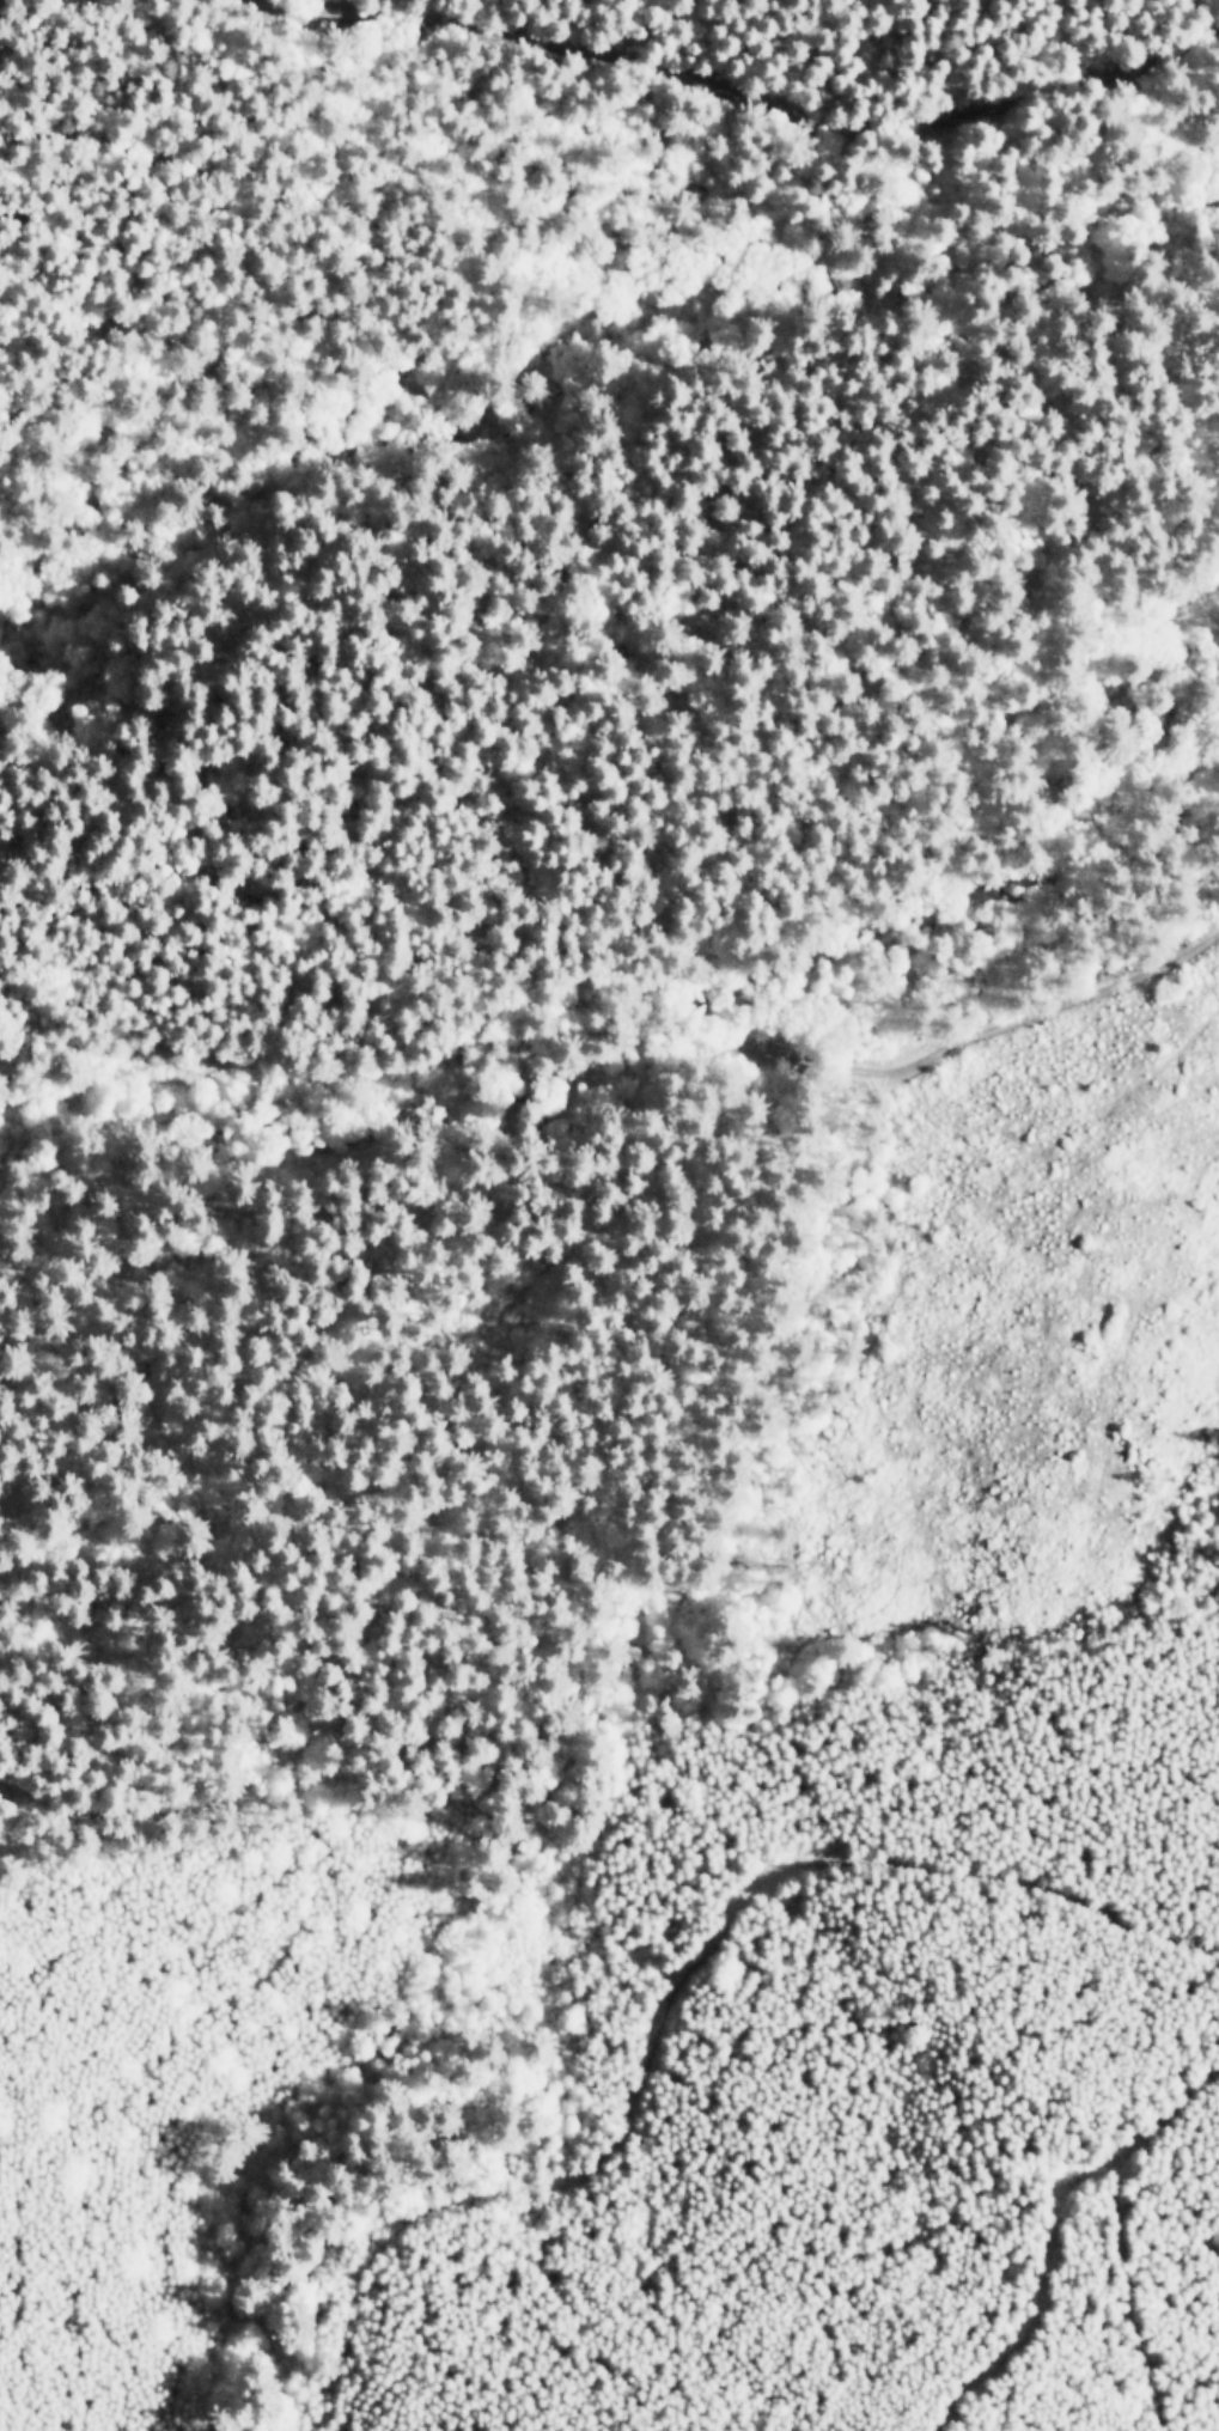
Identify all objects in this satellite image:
road: (73, 51)
road: (684, 83)
road: (251, 206)
road: (1010, 1015)
road: (392, 1066)
road: (242, 1265)
road: (426, 1512)

